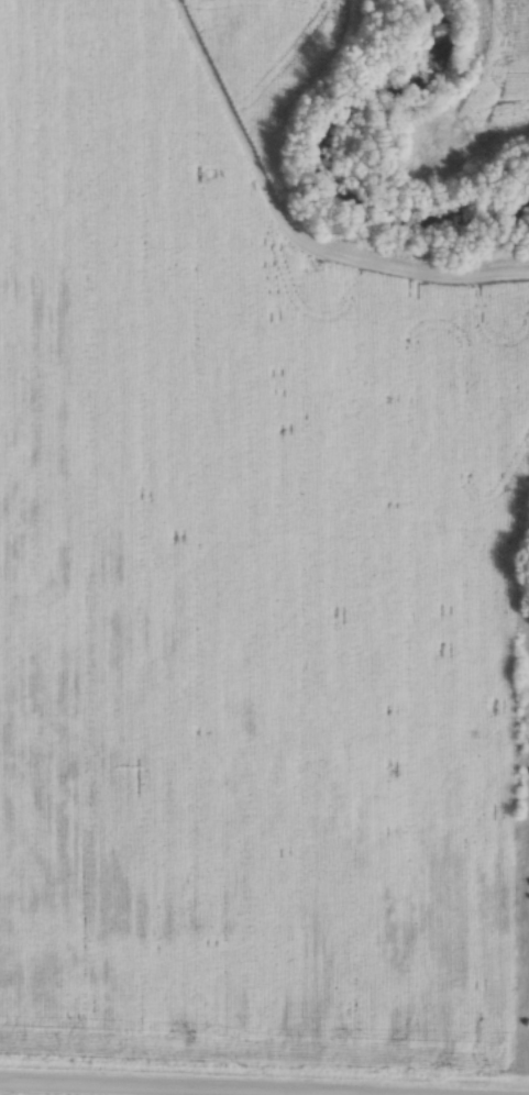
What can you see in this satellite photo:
road: (213, 1087)

